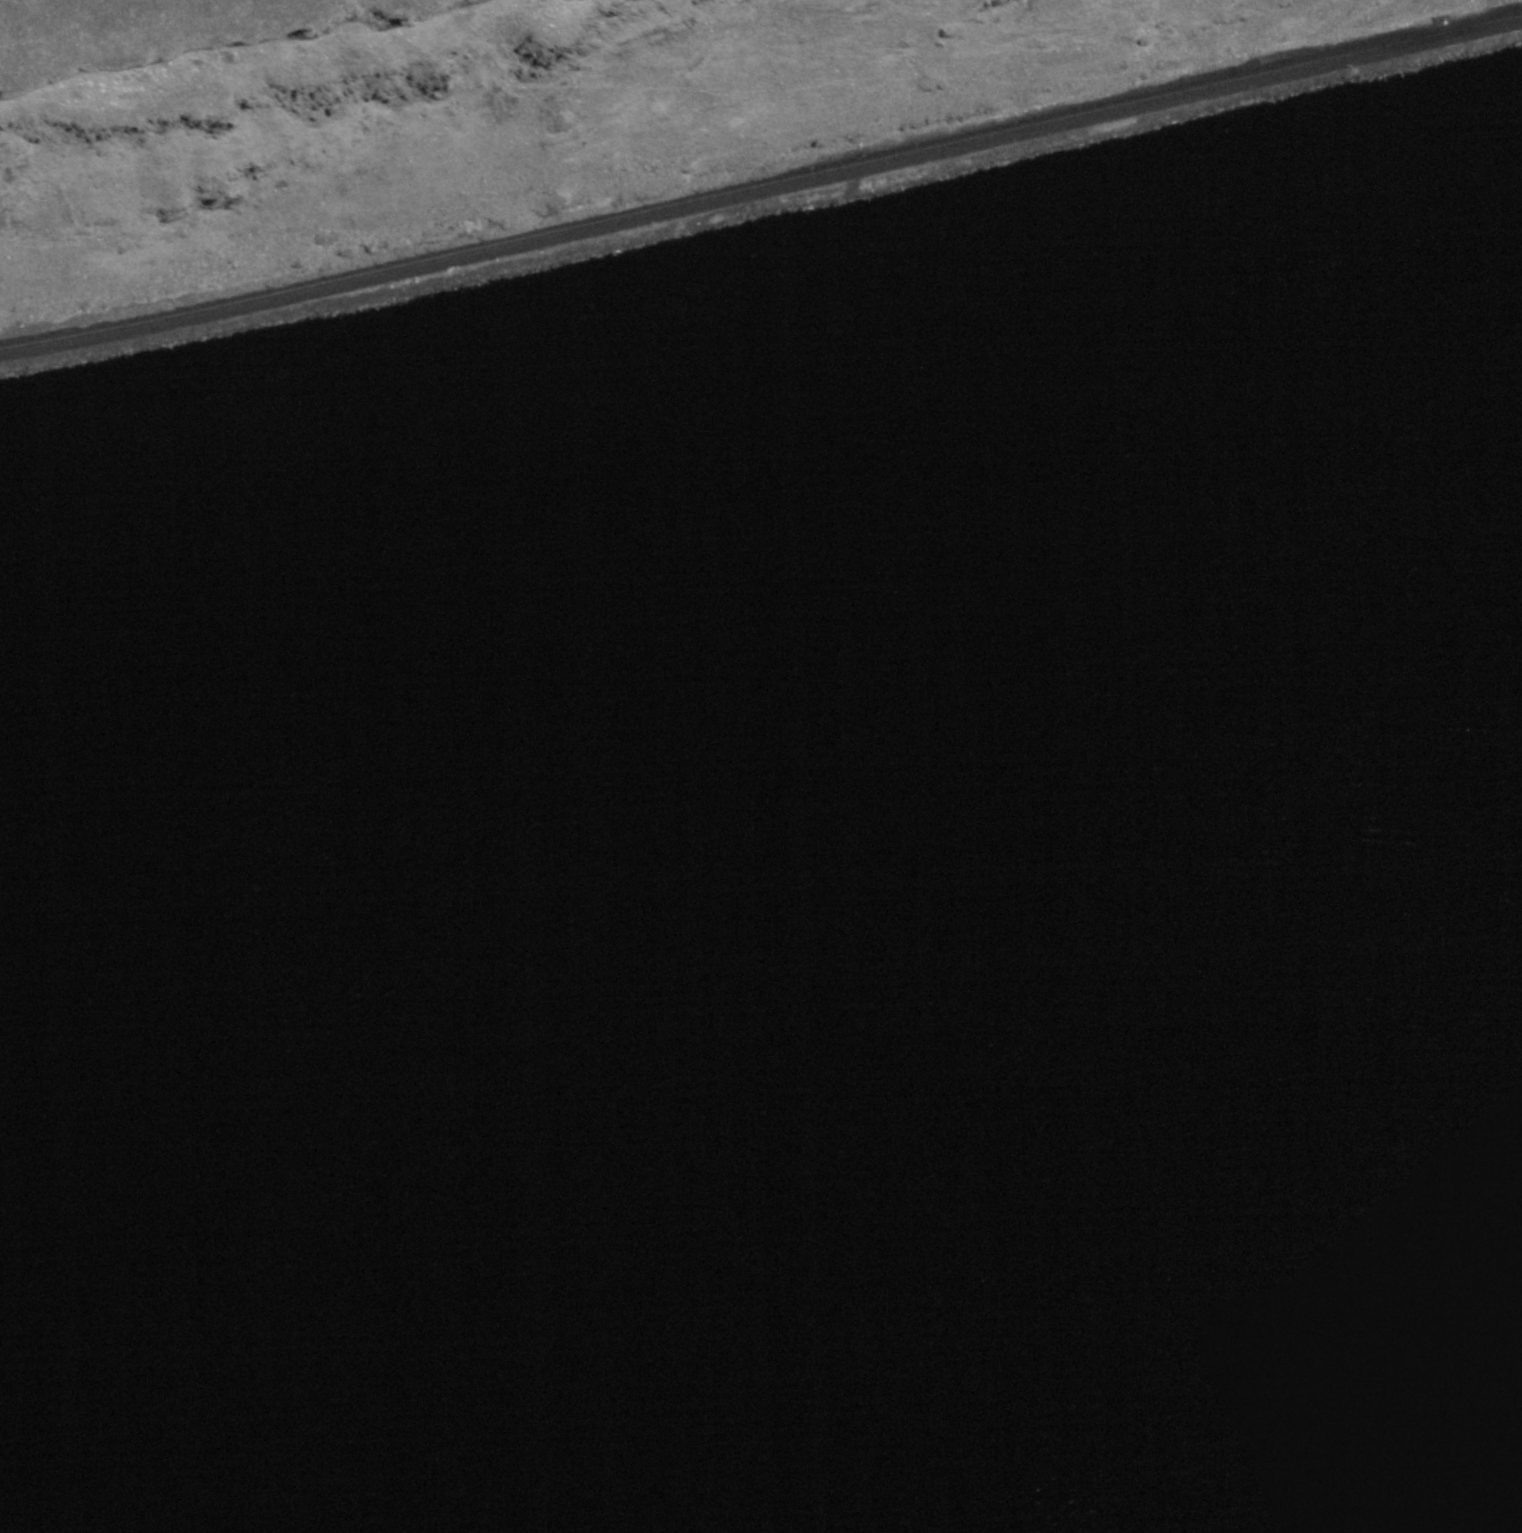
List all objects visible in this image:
railway: (761, 182)

